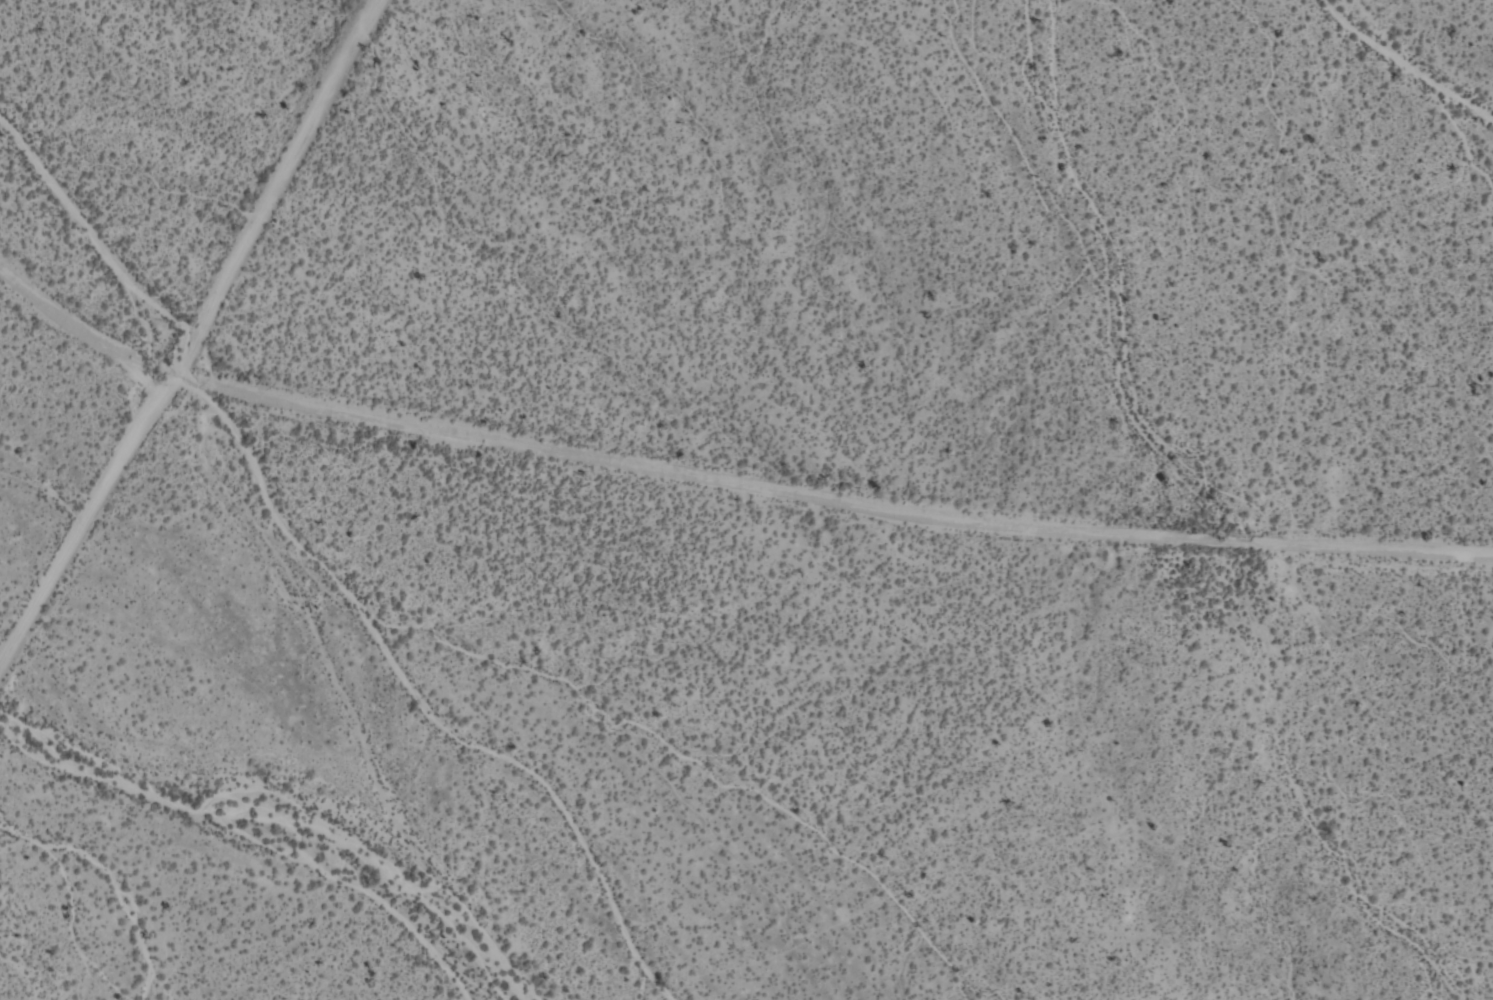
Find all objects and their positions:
road: (271, 191)
road: (722, 481)
road: (85, 526)

